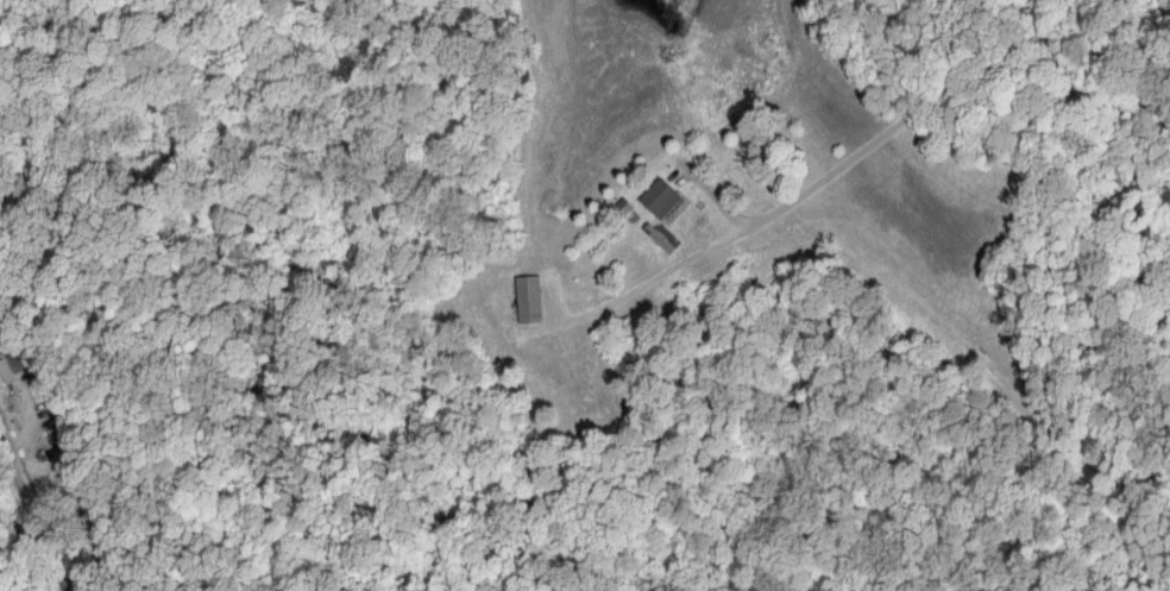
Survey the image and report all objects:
road: (856, 161)
building: (665, 200)
building: (14, 366)
road: (254, 413)
road: (32, 516)

